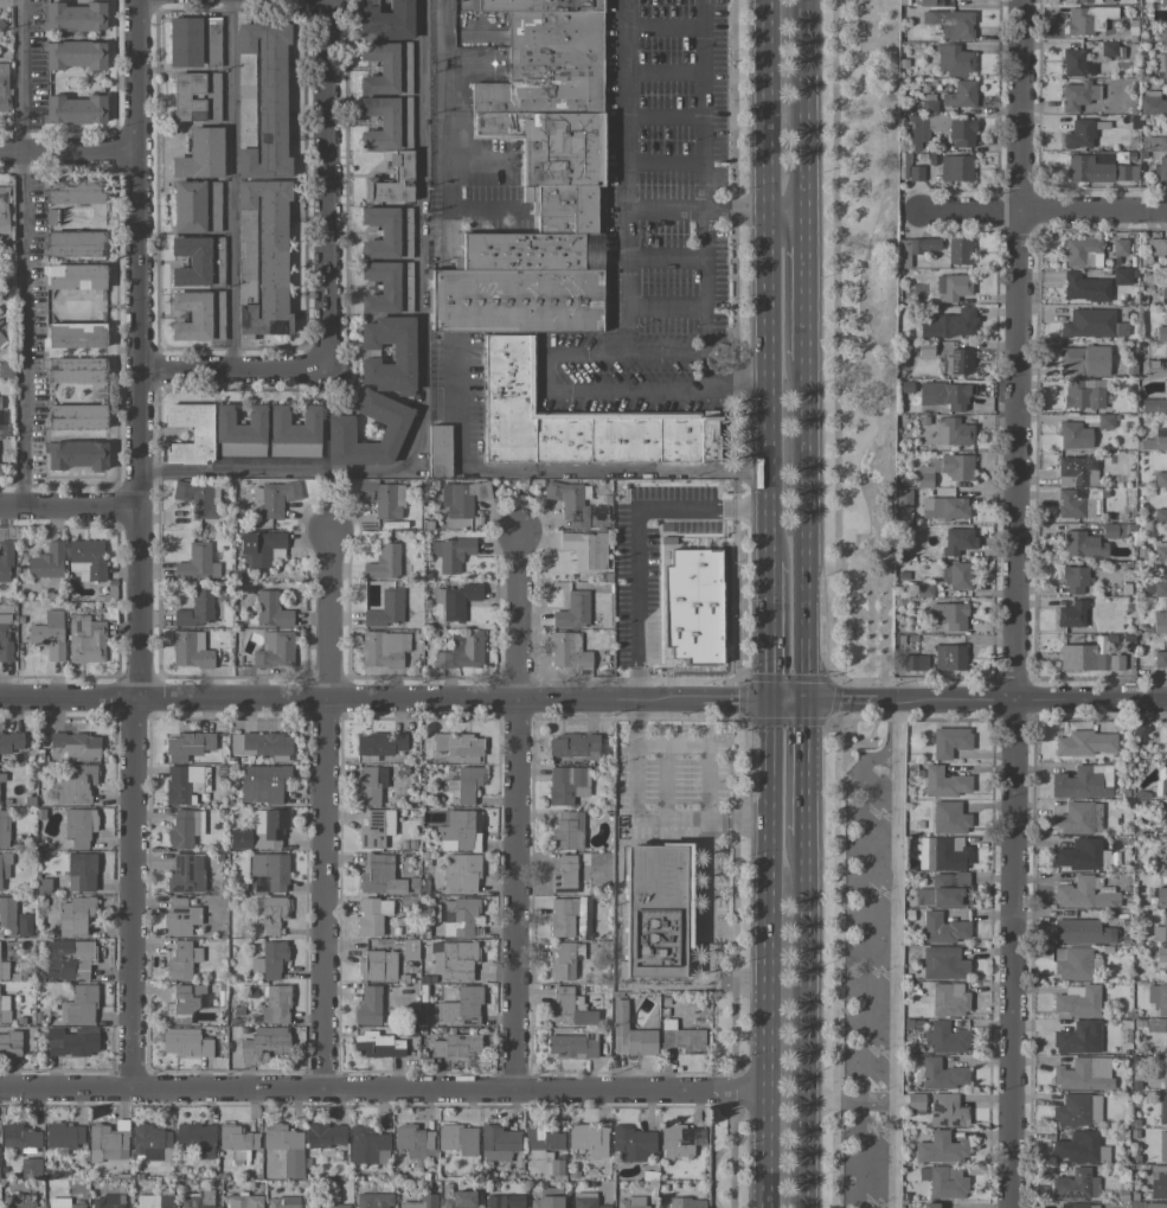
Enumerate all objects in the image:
building: (1094, 1)
building: (1162, 1)
building: (925, 2)
building: (72, 17)
building: (1088, 19)
building: (443, 20)
building: (385, 21)
building: (950, 24)
building: (1162, 34)
building: (181, 41)
building: (72, 55)
building: (953, 59)
building: (1075, 63)
building: (1161, 65)
building: (386, 69)
building: (4, 87)
building: (960, 95)
building: (1077, 95)
building: (186, 97)
building: (211, 97)
building: (261, 101)
building: (1152, 103)
road: (767, 106)
road: (806, 107)
building: (73, 110)
building: (386, 122)
building: (922, 124)
building: (961, 133)
building: (1078, 135)
road: (704, 138)
road: (443, 142)
building: (1158, 143)
road: (68, 151)
building: (199, 155)
building: (402, 164)
building: (1092, 166)
building: (955, 168)
building: (1160, 168)
building: (1124, 173)
road: (623, 178)
building: (537, 183)
road: (327, 184)
road: (231, 185)
building: (73, 191)
building: (187, 206)
building: (4, 210)
road: (1043, 210)
road: (787, 212)
building: (385, 232)
building: (75, 244)
building: (1120, 247)
building: (1156, 247)
building: (913, 249)
building: (958, 251)
road: (19, 253)
building: (1082, 253)
building: (267, 256)
building: (245, 258)
building: (197, 262)
building: (73, 276)
building: (1121, 276)
road: (705, 283)
building: (951, 287)
building: (1084, 287)
building: (386, 288)
road: (806, 288)
building: (198, 315)
building: (1091, 324)
building: (950, 325)
park: (867, 332)
building: (76, 335)
building: (1, 338)
road: (137, 349)
building: (402, 352)
road: (665, 356)
building: (957, 360)
building: (1084, 360)
road: (422, 367)
building: (1155, 369)
road: (233, 370)
building: (75, 371)
road: (724, 381)
road: (768, 386)
road: (572, 392)
building: (1083, 394)
building: (944, 395)
building: (1154, 405)
building: (77, 416)
building: (575, 421)
building: (239, 432)
building: (953, 432)
building: (190, 433)
building: (294, 433)
building: (338, 434)
building: (1073, 436)
building: (1160, 439)
building: (437, 450)
building: (73, 455)
building: (953, 466)
road: (553, 468)
building: (1073, 469)
building: (1160, 479)
building: (198, 498)
building: (383, 498)
building: (461, 498)
building: (276, 499)
building: (902, 499)
building: (570, 501)
road: (69, 505)
building: (1072, 505)
building: (944, 507)
building: (1113, 531)
road: (806, 532)
road: (635, 536)
building: (957, 541)
building: (1083, 545)
building: (257, 548)
building: (578, 548)
building: (599, 550)
building: (449, 555)
building: (86, 560)
building: (5, 561)
building: (46, 562)
building: (195, 563)
building: (383, 563)
building: (958, 576)
building: (1075, 580)
building: (454, 600)
road: (1015, 603)
building: (692, 606)
building: (197, 609)
building: (385, 609)
building: (271, 611)
building: (572, 611)
building: (1071, 614)
road: (327, 615)
building: (949, 615)
building: (1160, 622)
road: (768, 632)
building: (47, 634)
building: (5, 638)
building: (85, 640)
building: (383, 648)
building: (190, 650)
building: (274, 650)
building: (461, 651)
building: (568, 651)
building: (949, 657)
building: (1089, 657)
building: (1160, 660)
building: (913, 663)
road: (384, 699)
road: (985, 701)
traffic signals: (769, 702)
road: (787, 702)
traffic signals: (804, 702)
road: (893, 718)
building: (949, 741)
building: (11, 742)
building: (1165, 742)
building: (1085, 743)
building: (259, 744)
building: (378, 744)
building: (456, 744)
building: (572, 744)
building: (187, 746)
building: (72, 747)
road: (804, 768)
building: (1163, 780)
building: (944, 782)
building: (1083, 782)
building: (184, 784)
building: (263, 784)
building: (464, 784)
building: (75, 785)
building: (370, 785)
building: (566, 785)
road: (515, 811)
building: (949, 818)
building: (1079, 818)
building: (1165, 818)
road: (643, 819)
building: (78, 826)
building: (268, 827)
building: (4, 829)
building: (184, 829)
building: (374, 829)
building: (568, 830)
building: (460, 831)
building: (241, 839)
building: (942, 854)
building: (1165, 854)
road: (707, 855)
building: (1084, 855)
building: (270, 870)
building: (81, 873)
building: (461, 873)
building: (569, 873)
building: (185, 874)
building: (379, 876)
building: (944, 890)
road: (134, 893)
road: (325, 894)
building: (1084, 894)
building: (1160, 896)
building: (656, 912)
building: (271, 914)
building: (73, 915)
building: (456, 915)
building: (7, 916)
building: (180, 916)
building: (371, 916)
building: (568, 916)
building: (23, 925)
building: (1165, 926)
building: (943, 928)
building: (1083, 932)
road: (765, 954)
building: (1161, 954)
building: (68, 959)
building: (181, 960)
building: (269, 960)
building: (562, 963)
road: (859, 964)
building: (943, 964)
building: (1072, 964)
building: (377, 966)
building: (4, 970)
road: (892, 971)
parking lot: (872, 982)
building: (1158, 997)
building: (949, 999)
building: (185, 1001)
building: (1077, 1001)
building: (461, 1004)
building: (275, 1005)
building: (78, 1006)
building: (367, 1006)
building: (569, 1008)
building: (4, 1009)
road: (804, 1021)
building: (629, 1034)
building: (681, 1037)
building: (944, 1038)
building: (1078, 1038)
building: (70, 1041)
building: (265, 1042)
building: (184, 1043)
building: (9, 1044)
building: (377, 1046)
building: (454, 1046)
building: (572, 1046)
building: (1163, 1072)
building: (942, 1074)
building: (1083, 1074)
road: (383, 1088)
road: (848, 1100)
building: (915, 1102)
building: (947, 1110)
building: (1162, 1110)
building: (1078, 1111)
building: (63, 1135)
building: (325, 1136)
building: (19, 1138)
building: (195, 1139)
building: (457, 1139)
building: (588, 1139)
building: (680, 1140)
building: (108, 1142)
building: (412, 1142)
building: (541, 1142)
building: (152, 1143)
building: (498, 1143)
building: (633, 1144)
building: (367, 1145)
building: (1162, 1145)
building: (284, 1148)
building: (940, 1148)
building: (1079, 1148)
building: (28, 1168)
building: (943, 1182)
building: (1158, 1183)
building: (1075, 1185)
building: (459, 1199)
building: (547, 1199)
building: (197, 1200)
building: (584, 1200)
building: (19, 1201)
building: (154, 1201)
building: (243, 1201)
building: (372, 1201)
building: (504, 1201)
building: (108, 1202)
building: (282, 1202)
building: (419, 1202)
building: (630, 1202)
building: (686, 1202)
building: (62, 1203)
building: (1155, 1204)
building: (340, 1206)
building: (928, 1206)
building: (1078, 1206)

